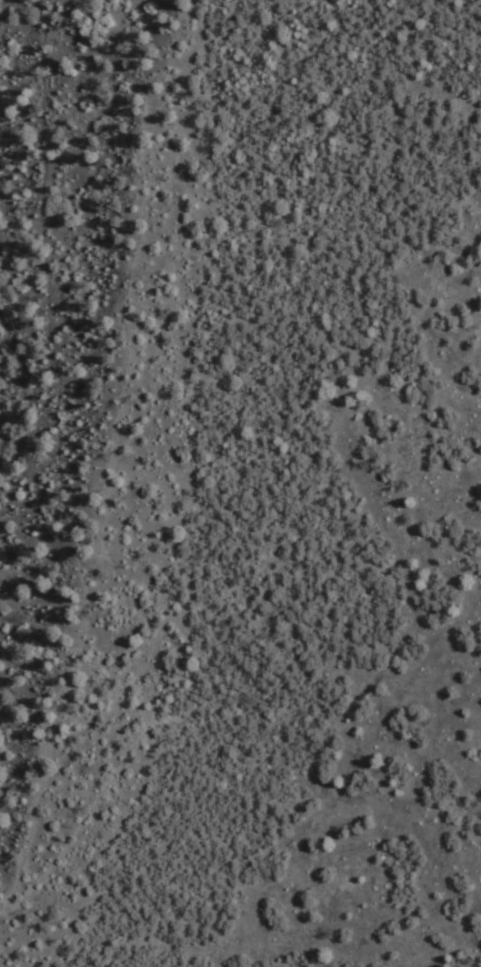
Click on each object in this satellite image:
road: (470, 234)
road: (51, 292)
road: (32, 385)
road: (10, 900)

